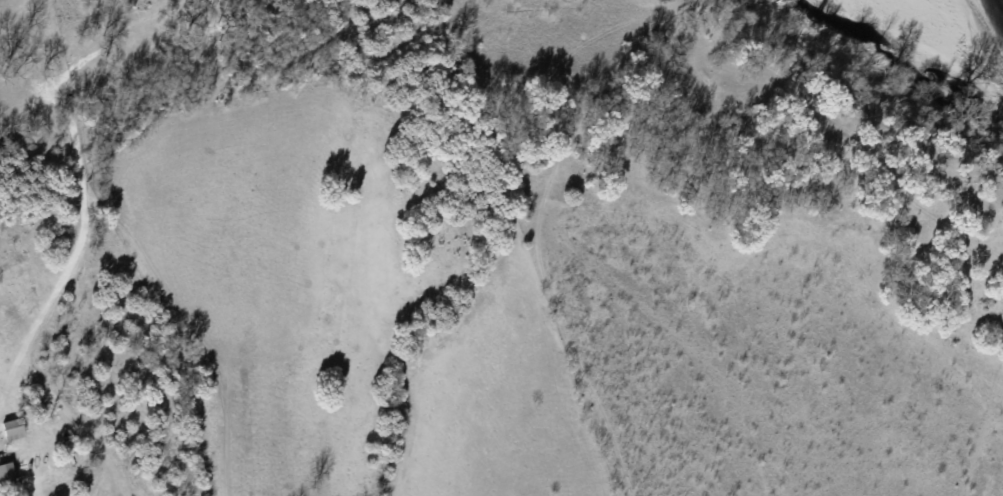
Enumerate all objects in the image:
river: (993, 9)
building: (11, 428)
building: (5, 473)

